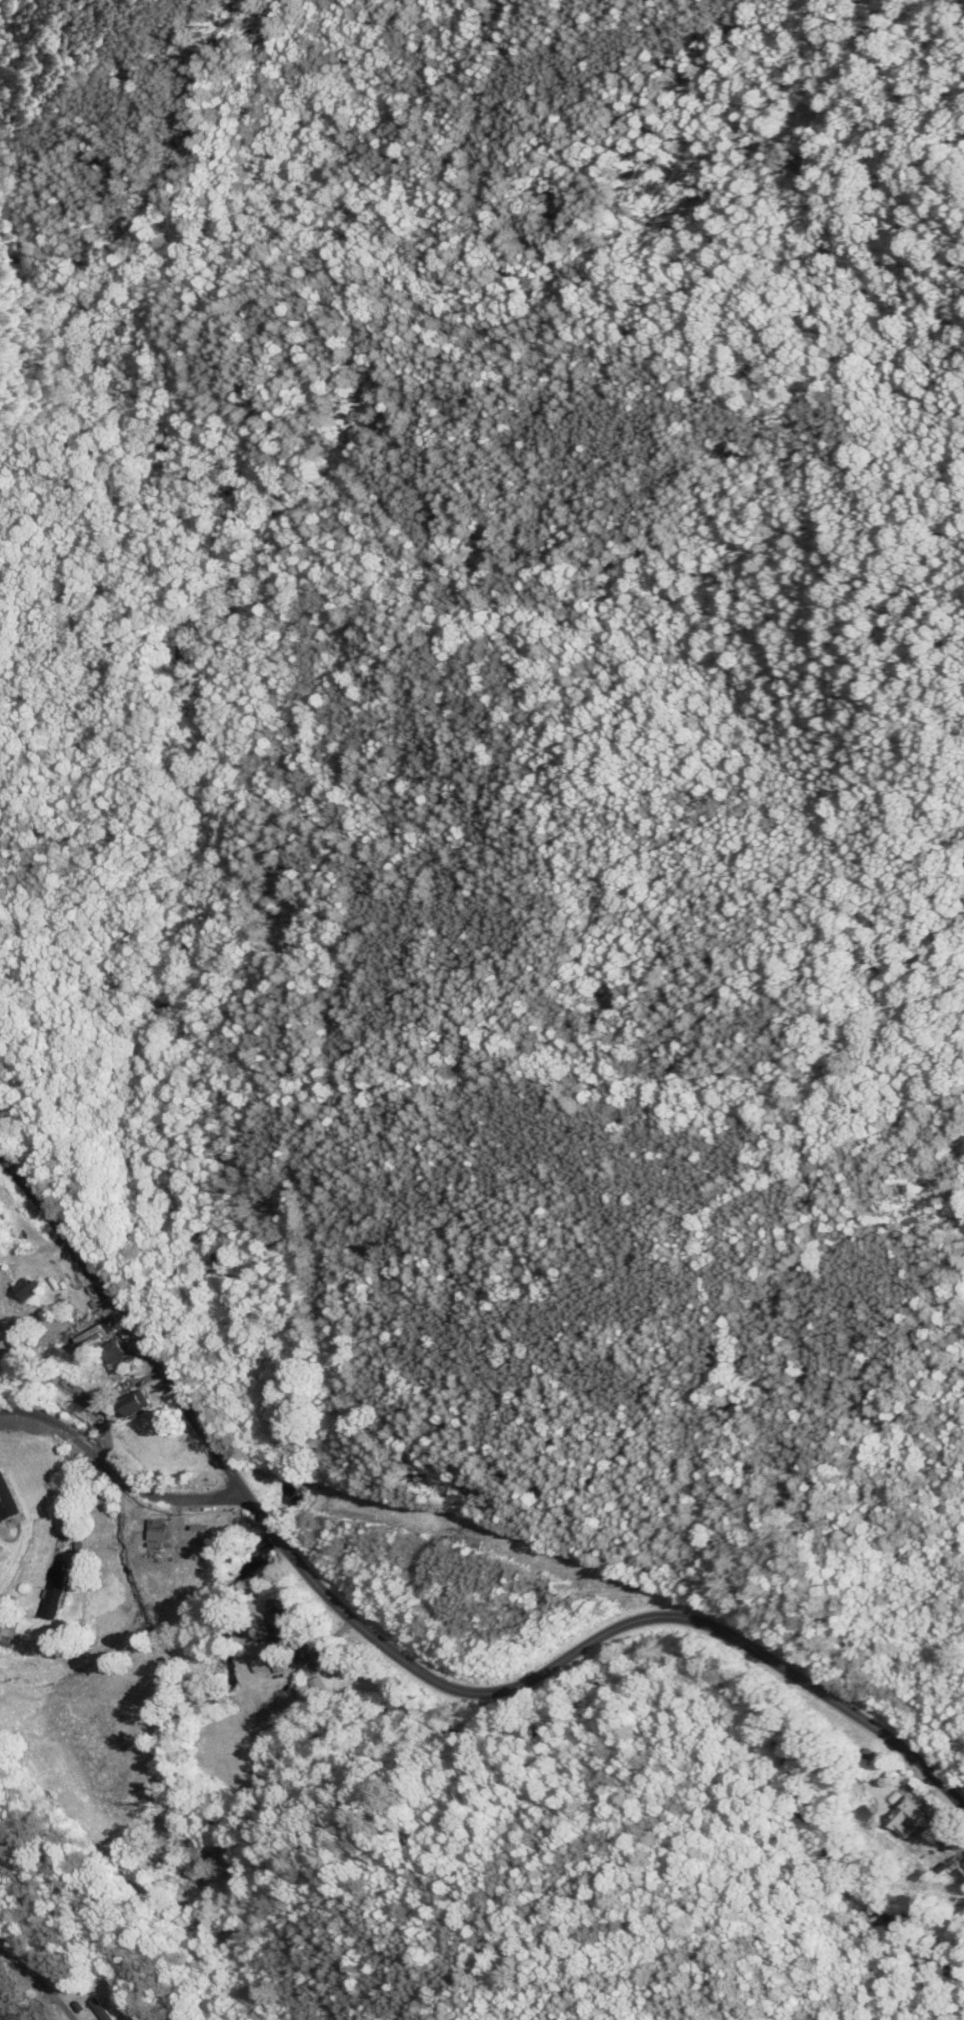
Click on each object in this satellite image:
river: (159, 1019)
building: (29, 1288)
building: (115, 1354)
building: (135, 1403)
road: (116, 1472)
building: (11, 1497)
building: (158, 1534)
building: (476, 1545)
building: (58, 1588)
building: (284, 1626)
road: (404, 1660)
river: (648, 1662)
building: (323, 1665)
building: (306, 1690)
building: (909, 1817)
building: (960, 1875)
road: (40, 1980)
building: (103, 2009)

